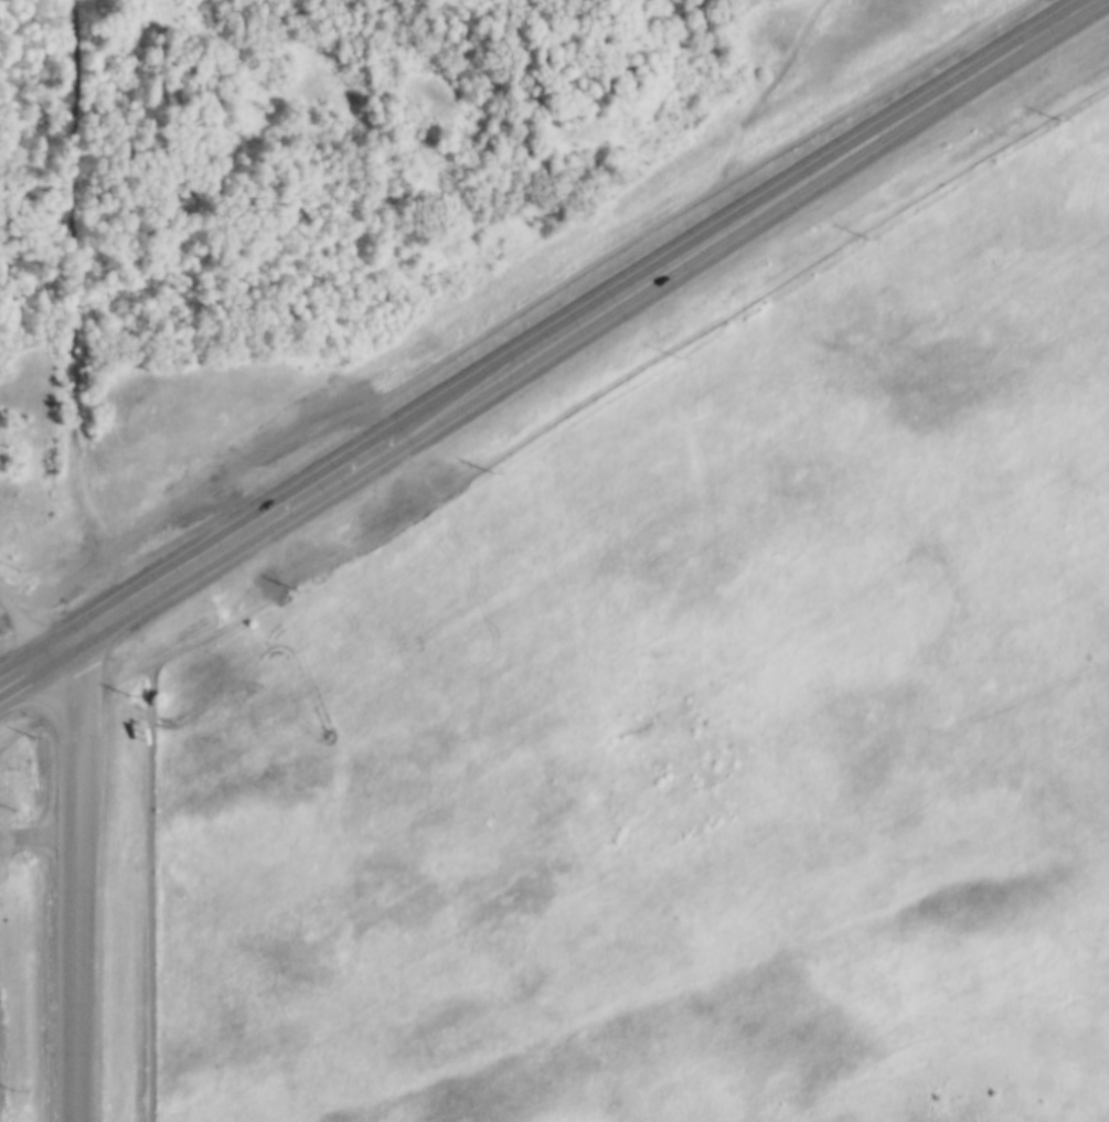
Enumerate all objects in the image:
road: (740, 216)
road: (75, 302)
road: (593, 393)
road: (216, 541)
road: (20, 619)
road: (21, 663)
road: (76, 880)
road: (152, 893)

